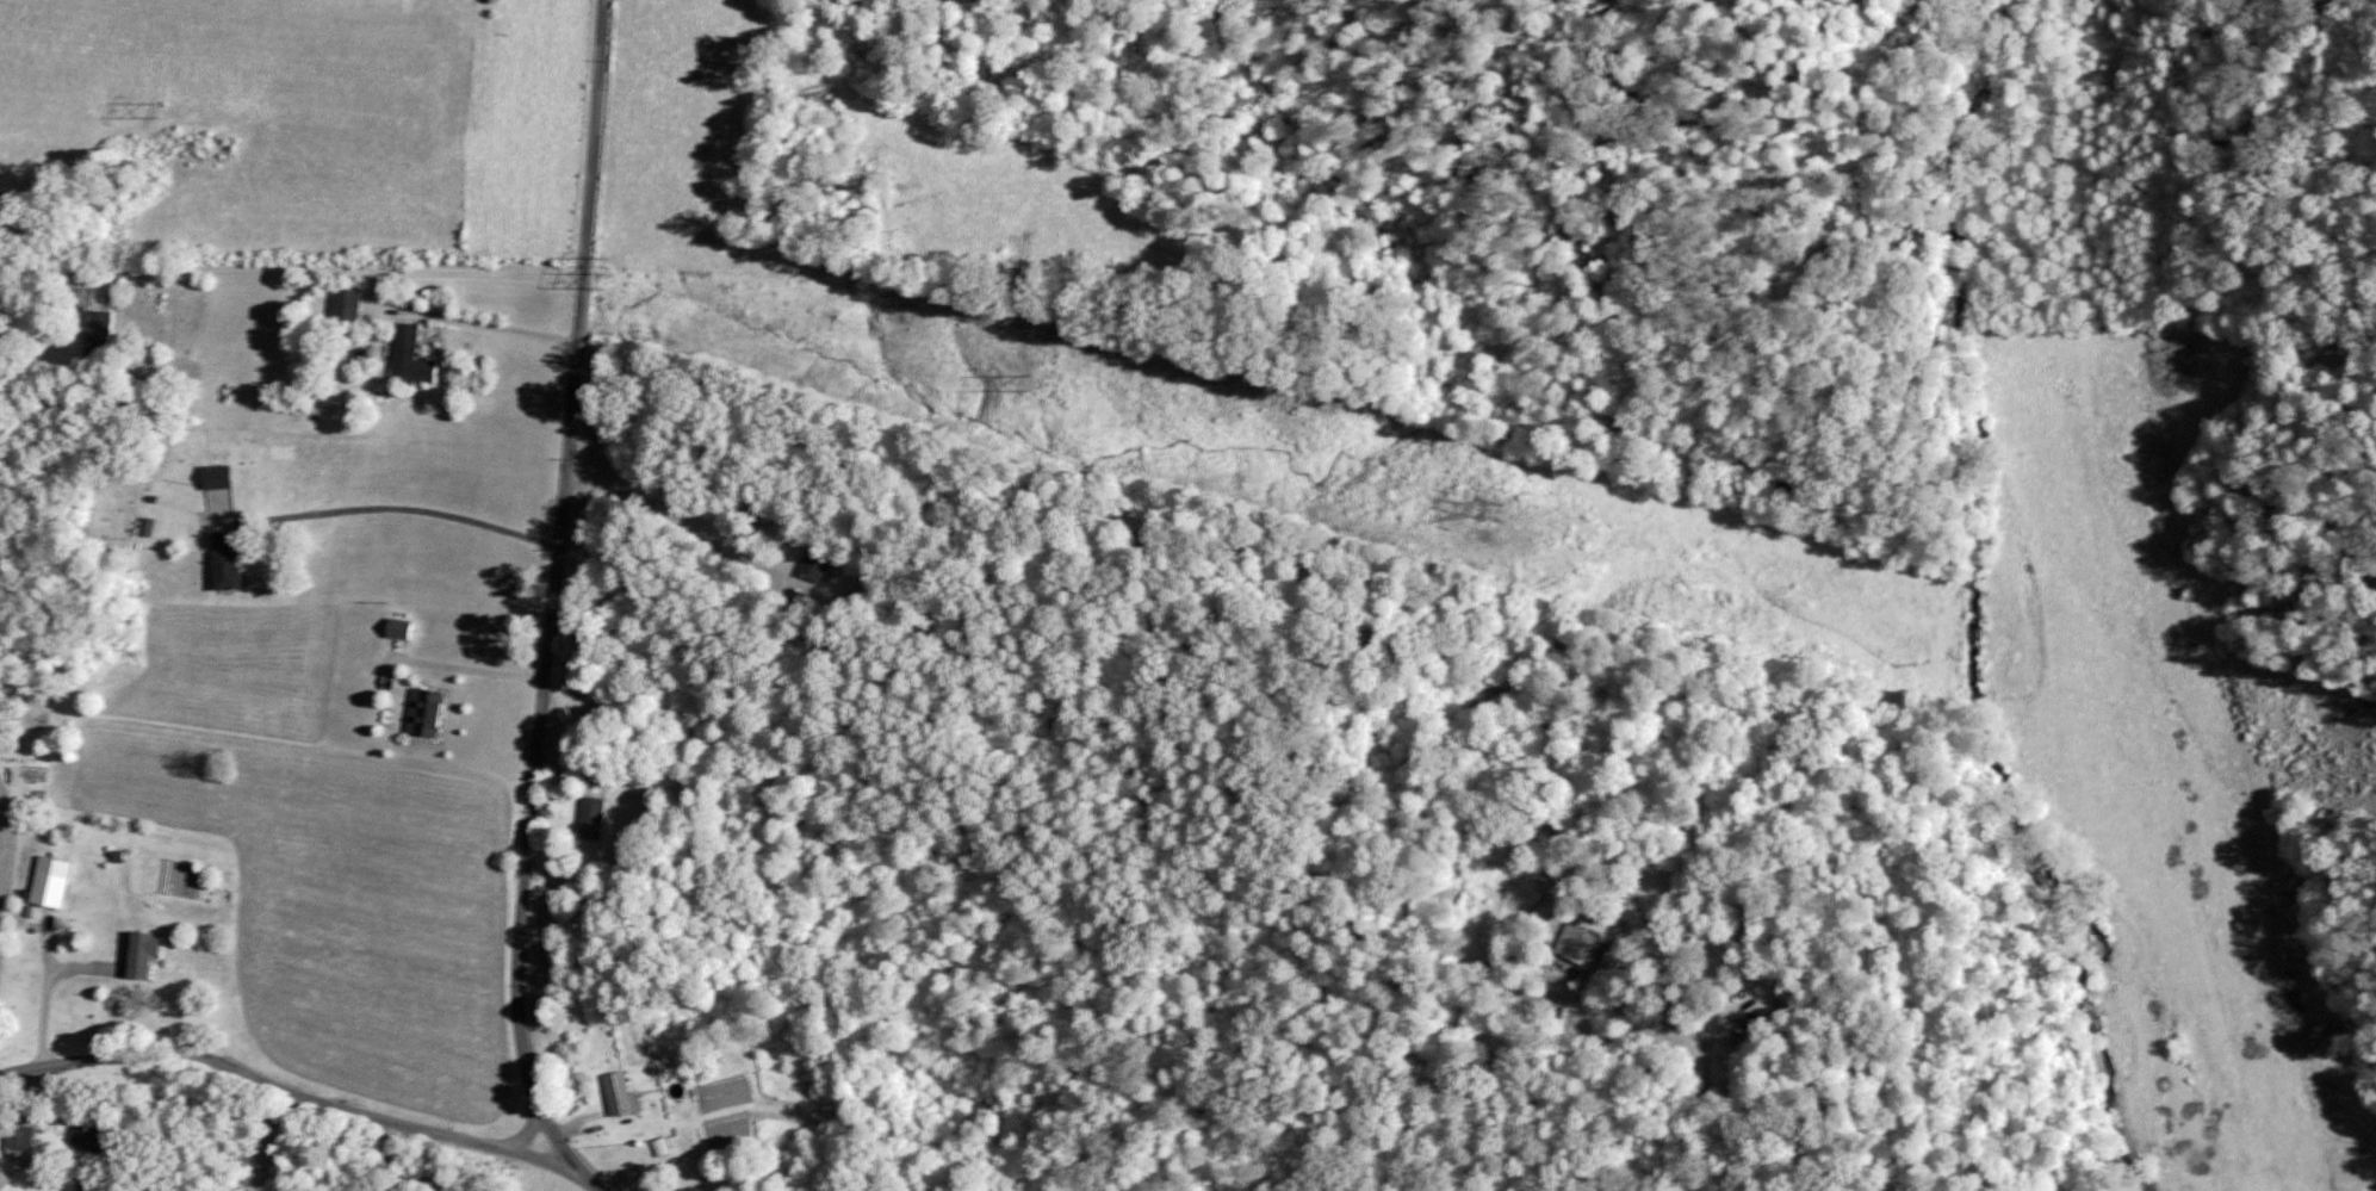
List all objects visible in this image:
power tower: (161, 110)
power tower: (608, 267)
road: (291, 272)
building: (346, 304)
road: (461, 318)
building: (99, 324)
building: (409, 355)
power tower: (1030, 389)
building: (217, 476)
road: (399, 507)
power tower: (1489, 511)
road: (680, 513)
building: (225, 560)
building: (813, 564)
road: (552, 606)
building: (398, 627)
road: (455, 666)
building: (423, 712)
building: (591, 817)
building: (50, 880)
building: (1576, 943)
building: (139, 953)
road: (44, 992)
road: (1699, 1037)
building: (620, 1093)
road: (300, 1096)
road: (528, 1131)
building: (83, 1133)
building: (19, 1141)
building: (660, 1145)
road: (401, 1170)
building: (4, 1178)

